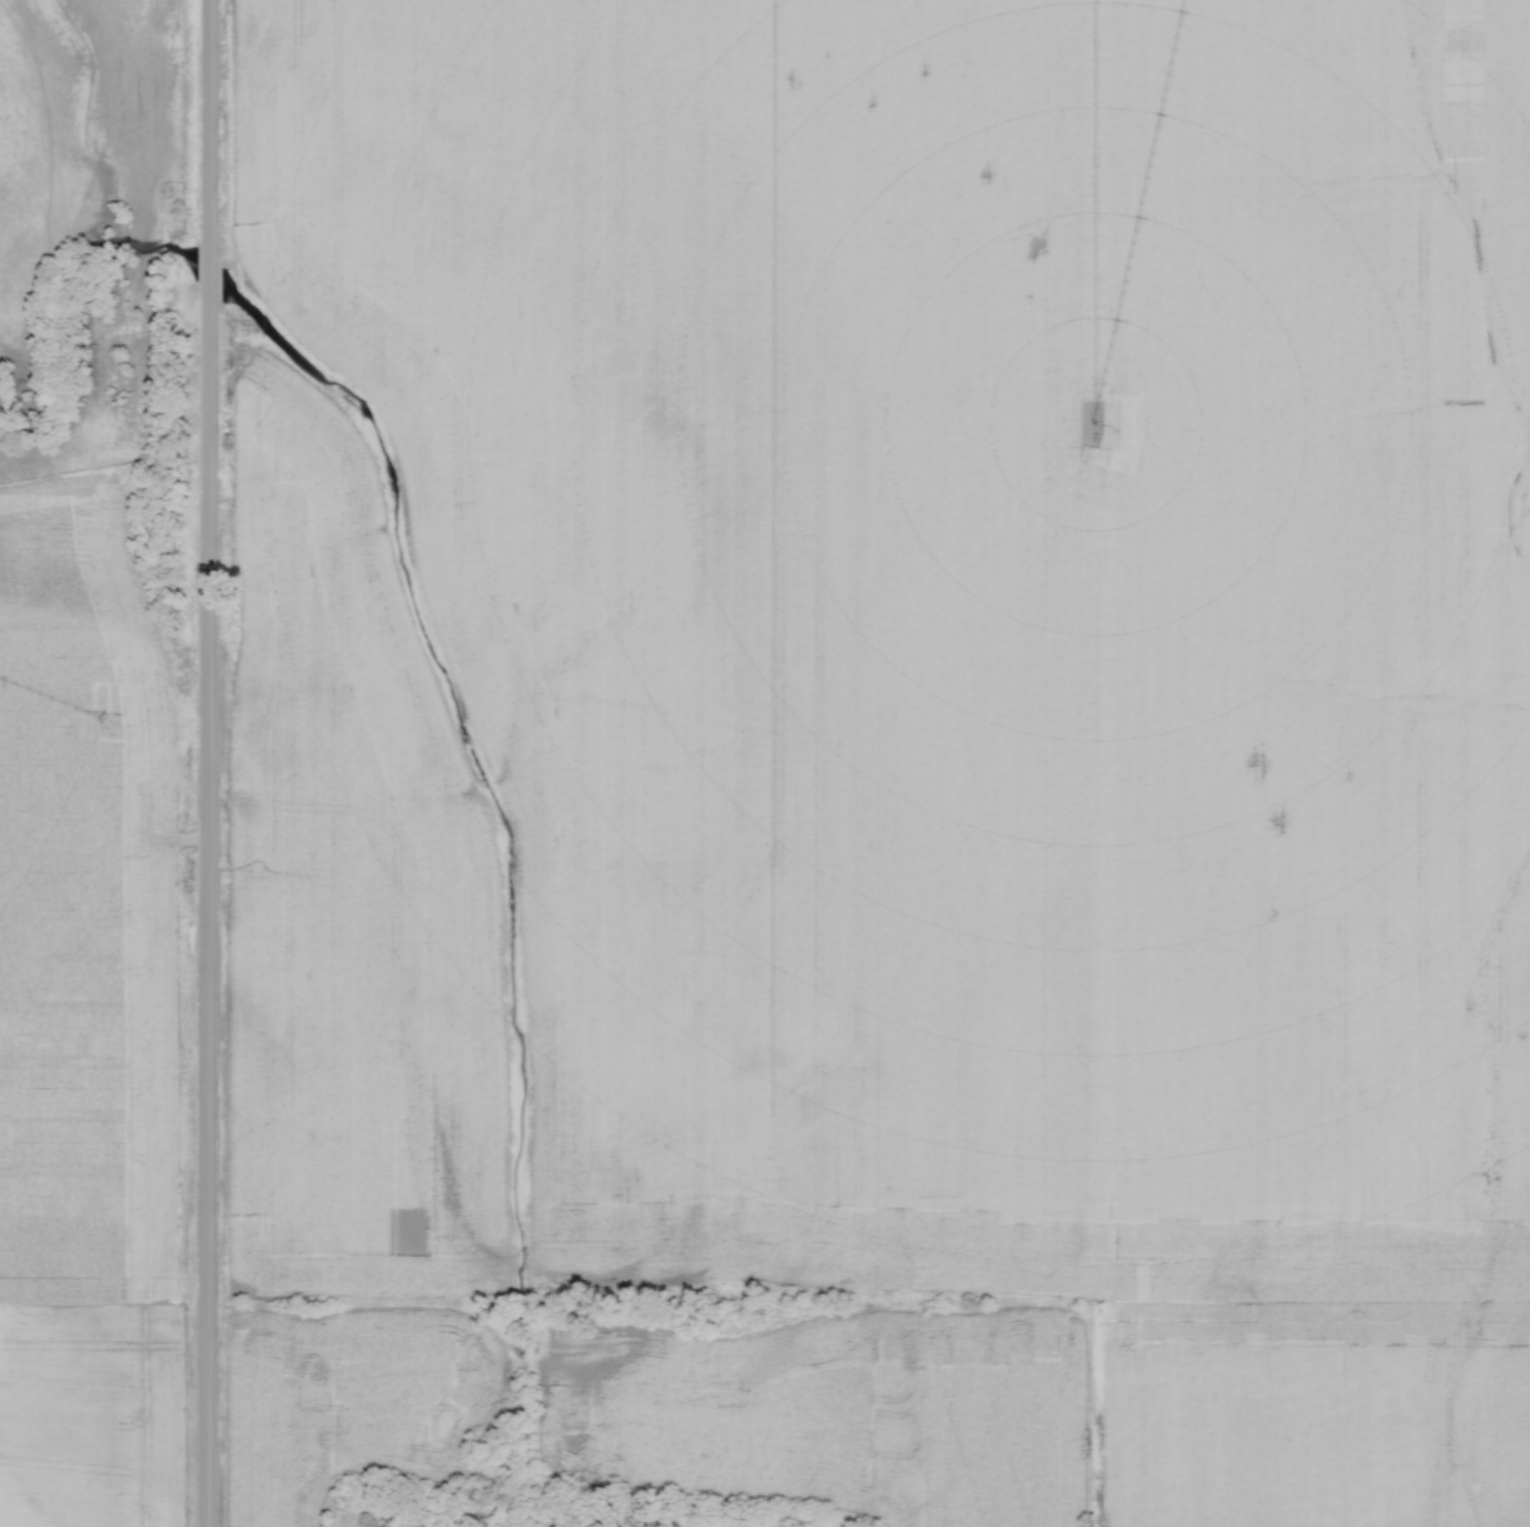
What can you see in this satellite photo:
road: (209, 763)

